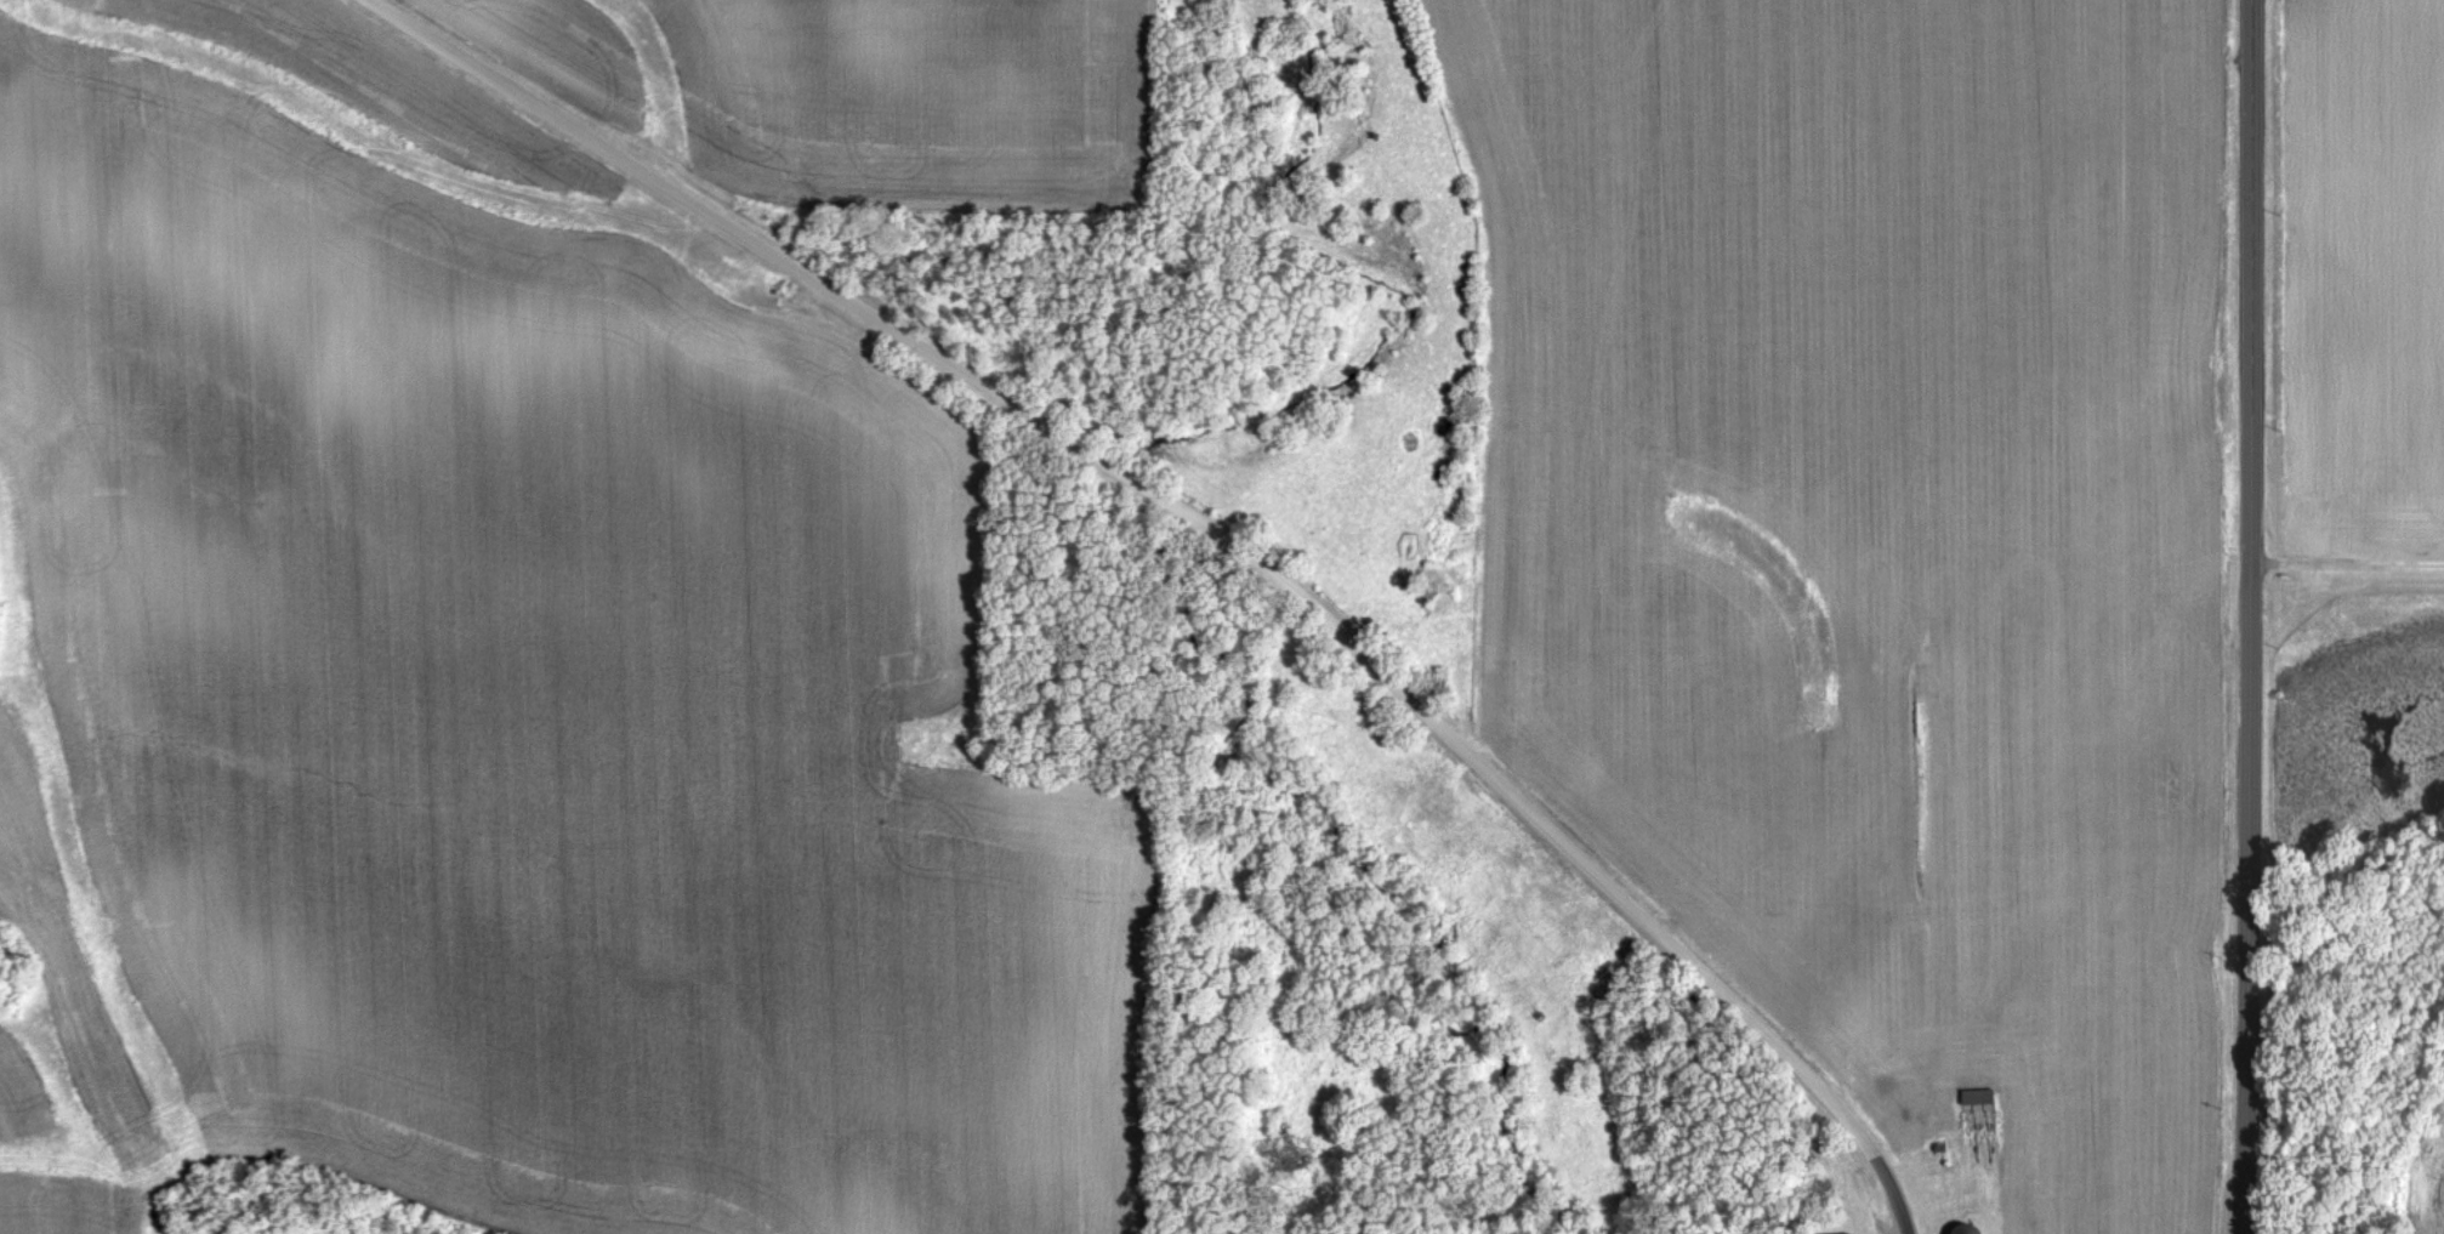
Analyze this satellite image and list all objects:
road: (1211, 529)
road: (2247, 616)
building: (1984, 1098)

